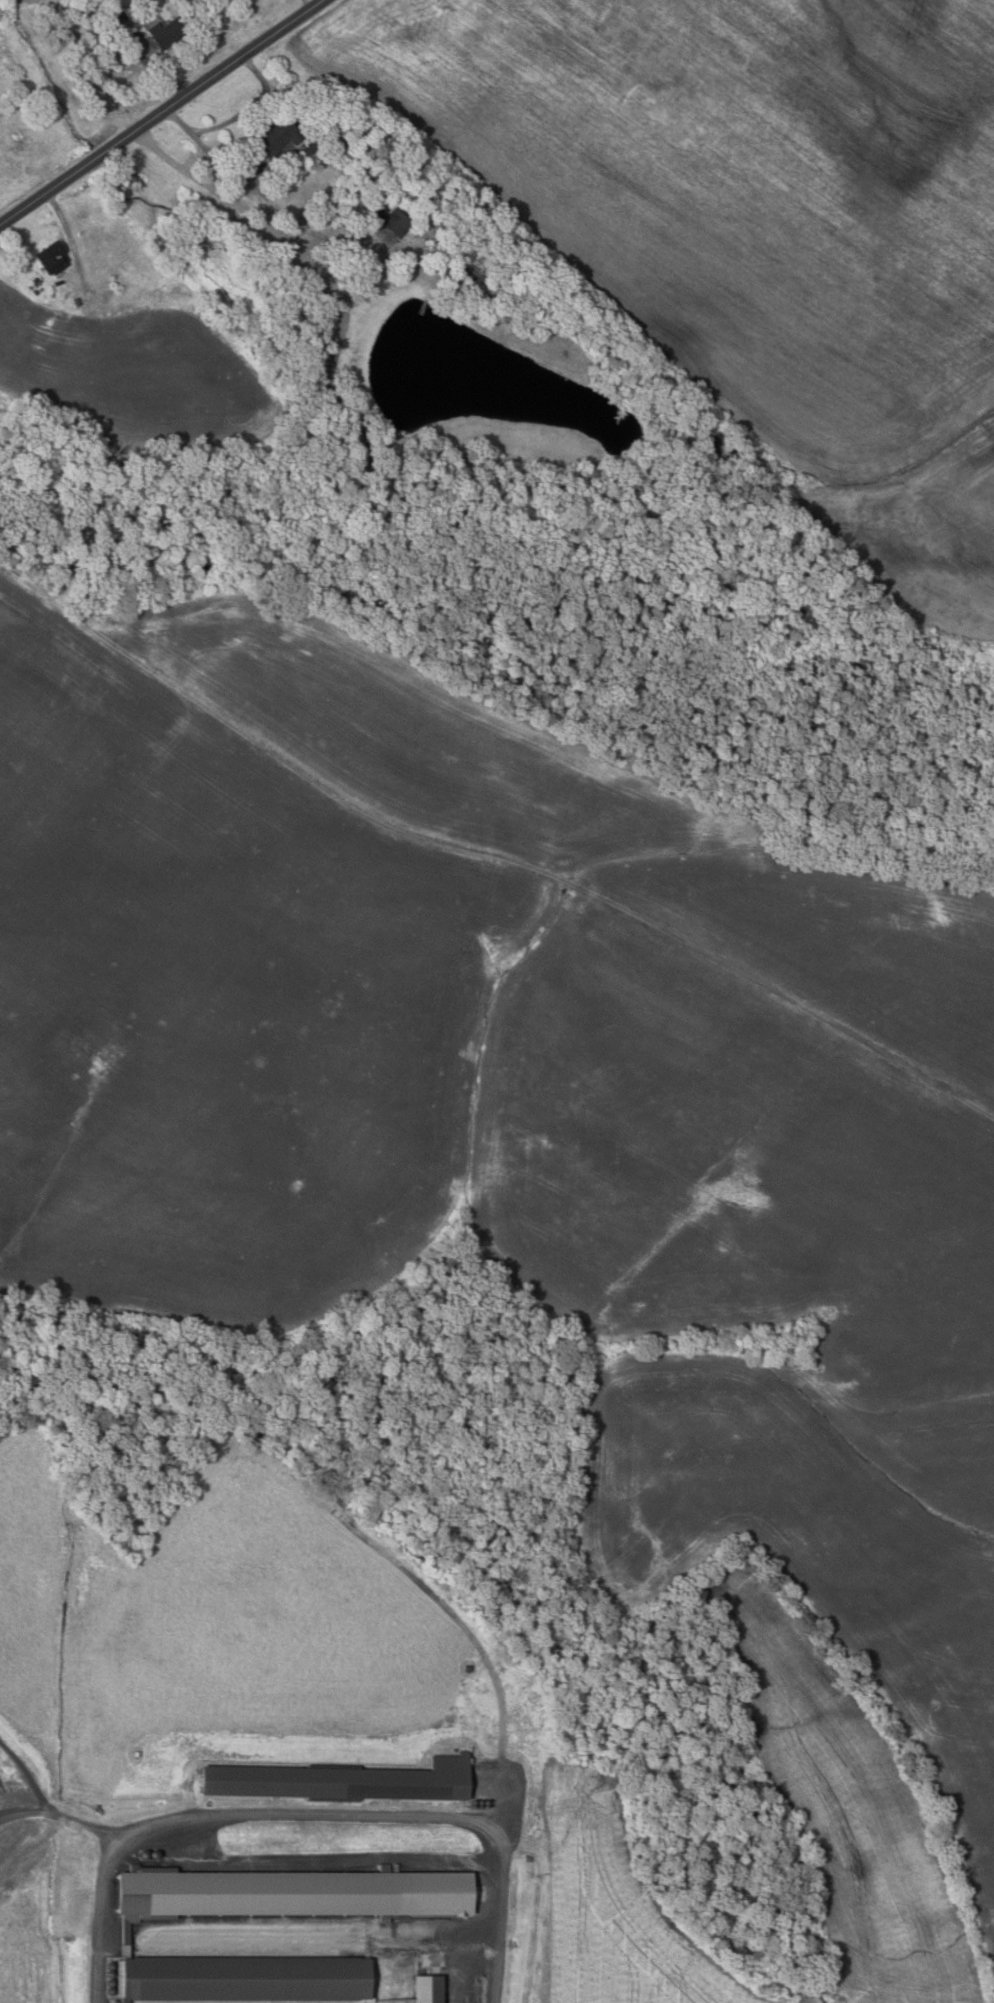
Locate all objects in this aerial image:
crop: (15, 2)
road: (308, 3)
building: (133, 8)
building: (123, 16)
building: (111, 22)
building: (169, 33)
road: (157, 64)
road: (159, 111)
road: (235, 116)
building: (279, 136)
building: (383, 211)
building: (398, 222)
building: (435, 227)
crop: (754, 228)
road: (69, 233)
building: (54, 257)
building: (481, 275)
building: (37, 281)
crop: (138, 375)
road: (493, 830)
crop: (518, 1099)
road: (28, 1774)
building: (345, 1778)
crop: (856, 1802)
road: (22, 1814)
road: (314, 1814)
road: (86, 1822)
building: (299, 1891)
building: (249, 1975)
building: (432, 1988)

